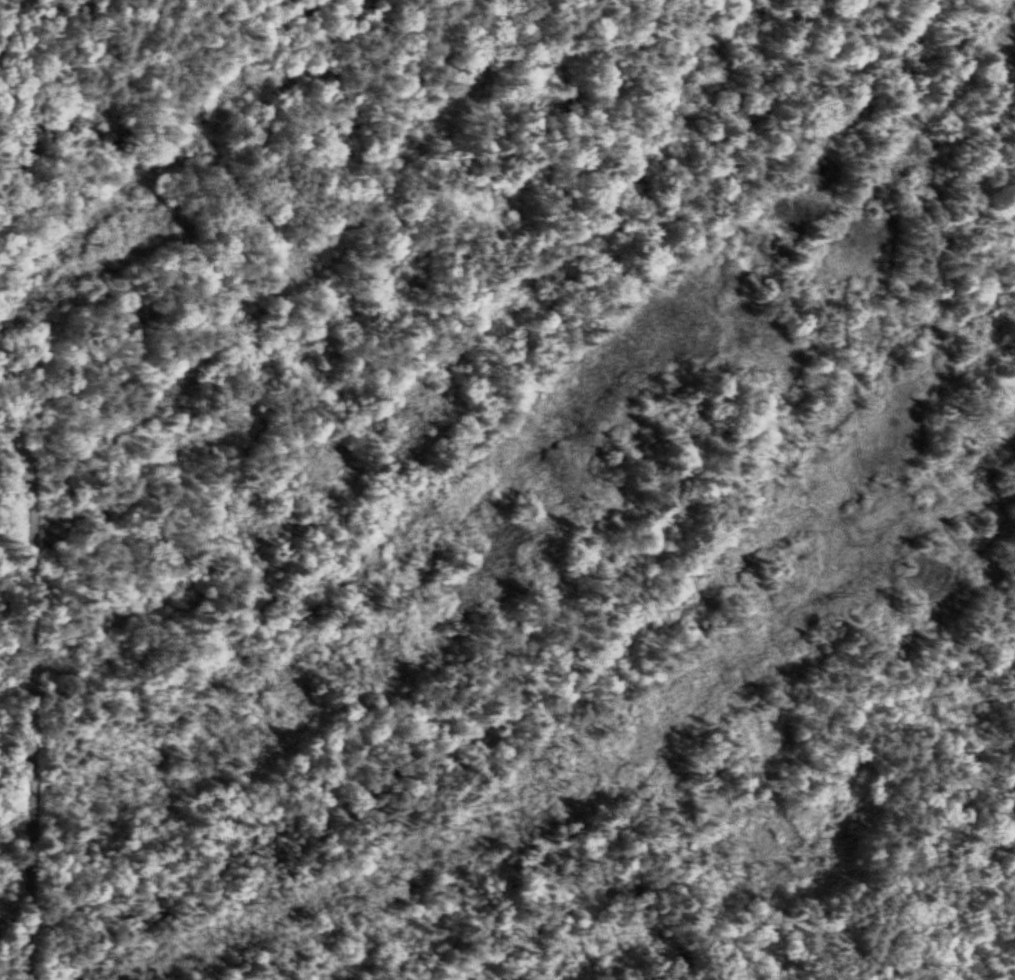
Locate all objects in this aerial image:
road: (2, 50)
road: (580, 625)
road: (32, 694)

